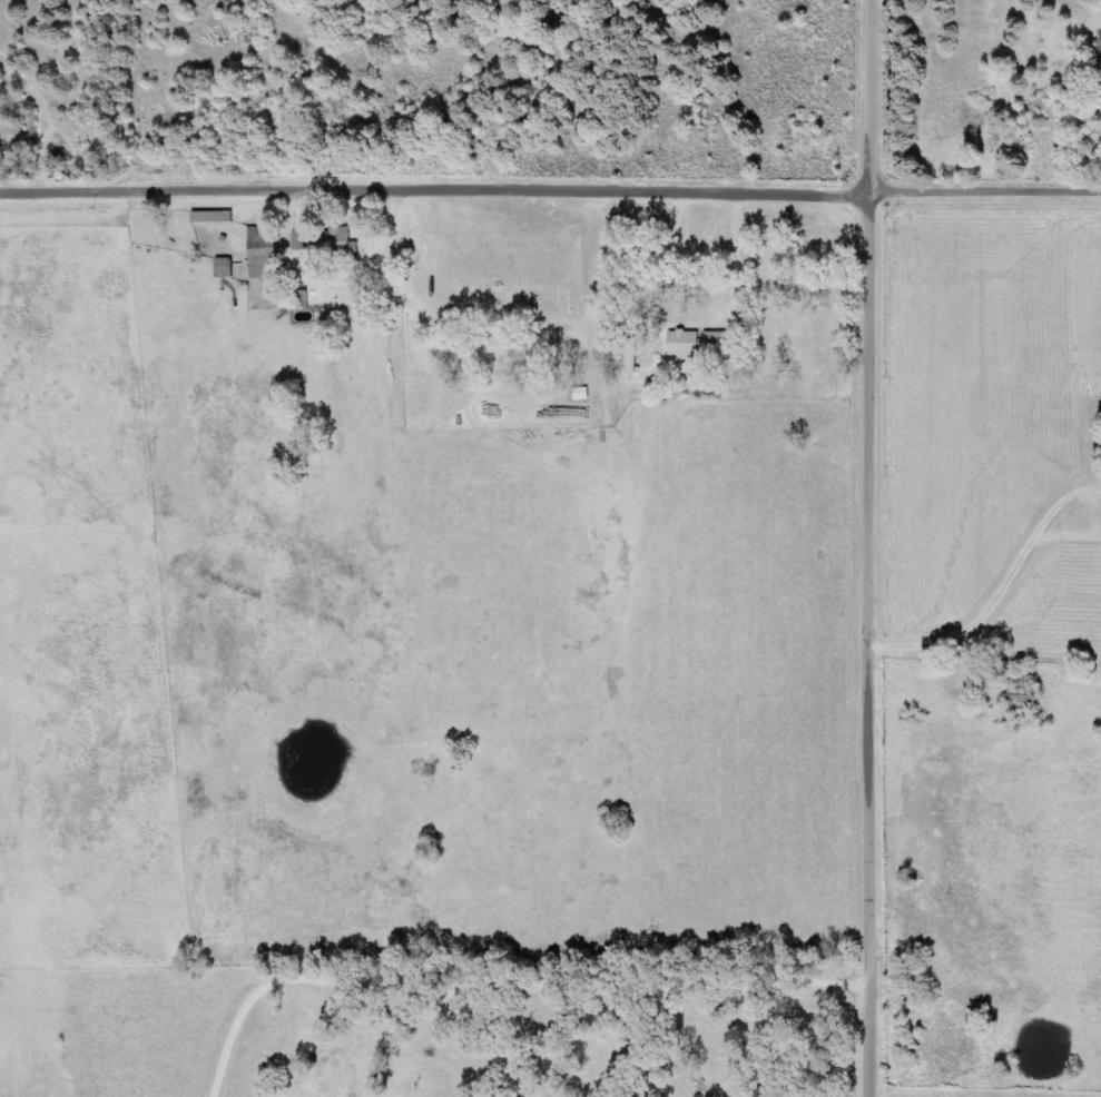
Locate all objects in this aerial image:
building: (1098, 56)
road: (879, 98)
road: (550, 189)
building: (218, 217)
building: (351, 245)
road: (1095, 248)
building: (268, 253)
building: (229, 268)
building: (697, 344)
building: (630, 357)
road: (876, 646)
road: (986, 909)

